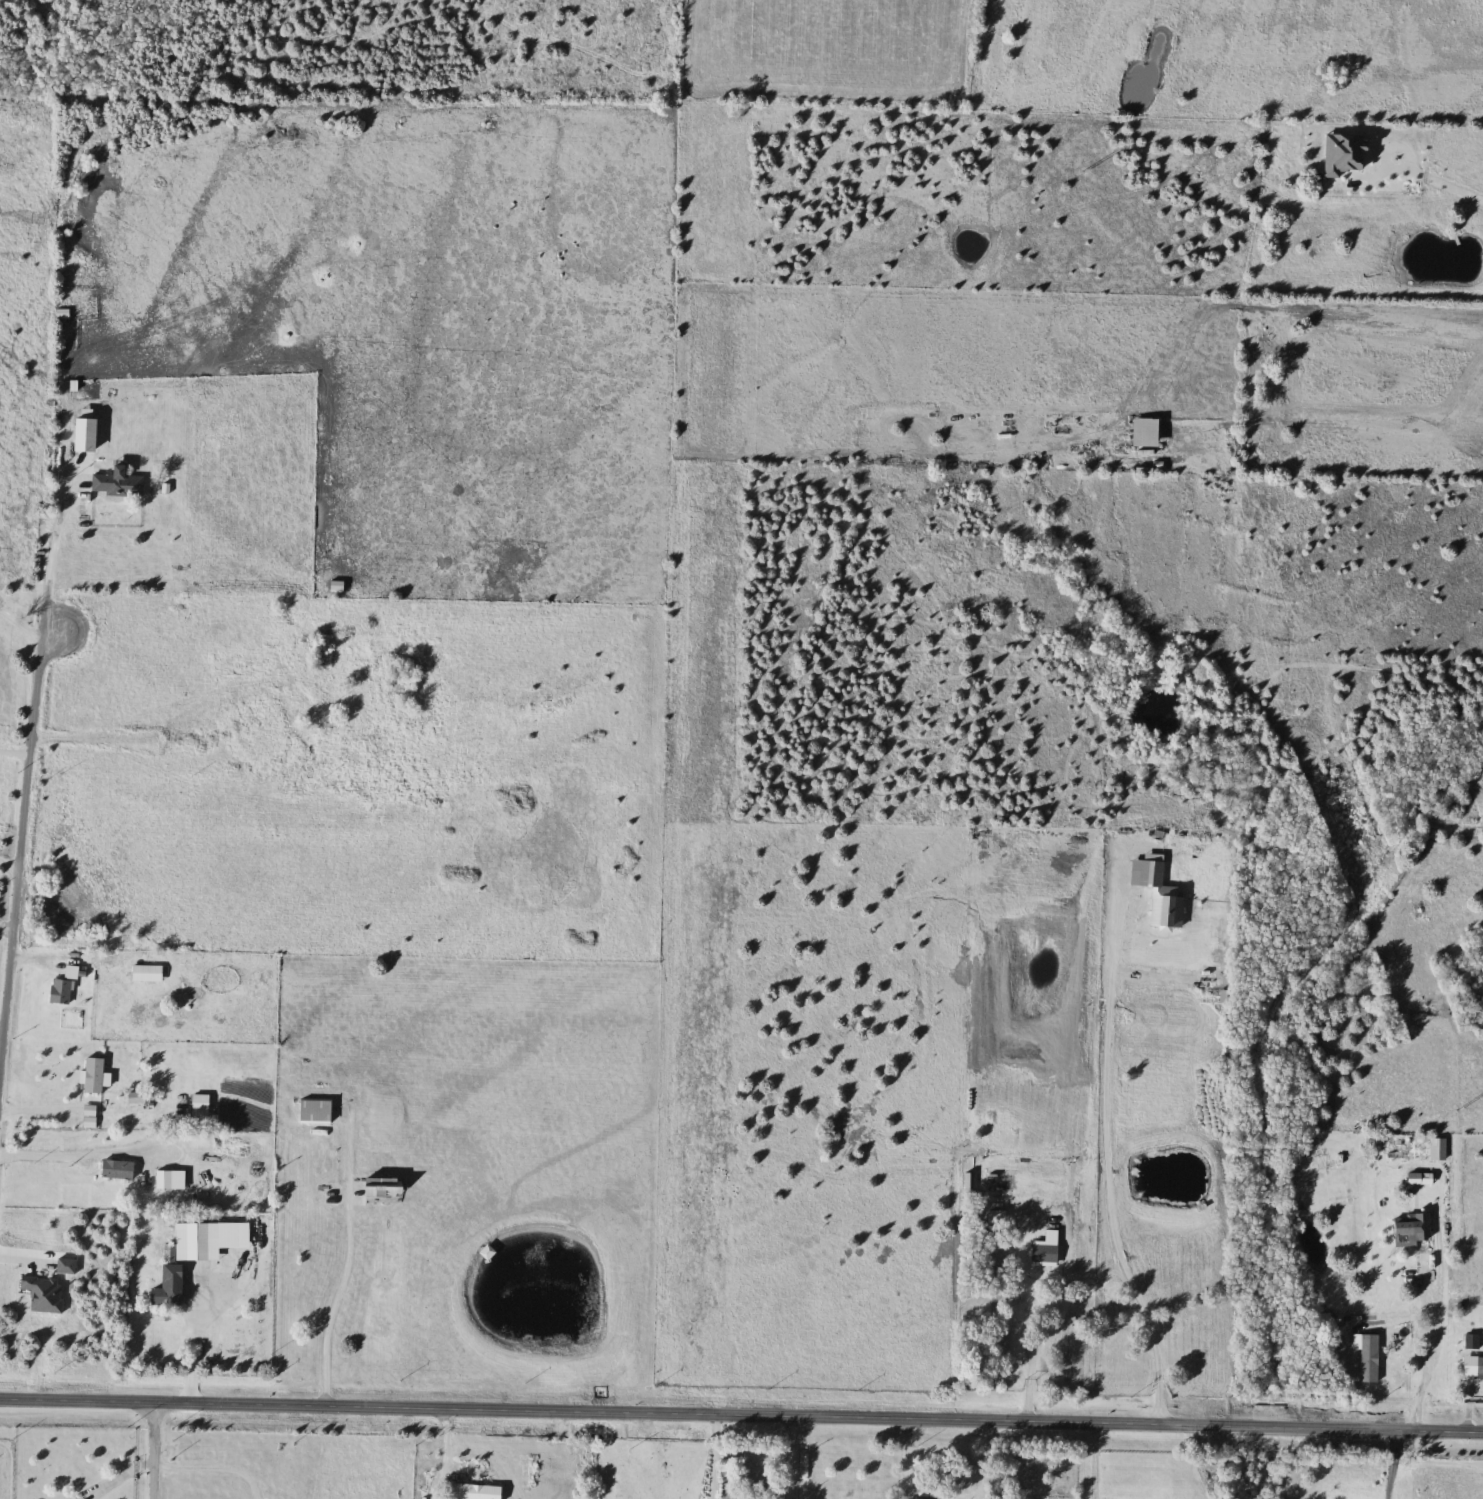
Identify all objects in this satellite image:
road: (1393, 143)
road: (1451, 175)
road: (1295, 310)
building: (1140, 432)
building: (119, 483)
road: (20, 622)
building: (257, 734)
road: (27, 764)
road: (10, 821)
road: (9, 862)
building: (1142, 874)
building: (1162, 912)
road: (5, 926)
building: (76, 970)
building: (150, 974)
building: (64, 992)
building: (98, 1076)
building: (203, 1106)
road: (42, 1110)
building: (318, 1111)
road: (96, 1146)
building: (1435, 1149)
road: (1106, 1168)
building: (120, 1170)
building: (174, 1181)
building: (1405, 1229)
building: (171, 1254)
road: (347, 1268)
building: (232, 1296)
building: (1009, 1297)
building: (170, 1298)
road: (1052, 1322)
road: (193, 1341)
road: (1429, 1345)
building: (1477, 1366)
road: (741, 1415)
road: (151, 1449)
road: (714, 1457)
road: (793, 1458)
road: (1394, 1465)
road: (213, 1468)
building: (472, 1492)

